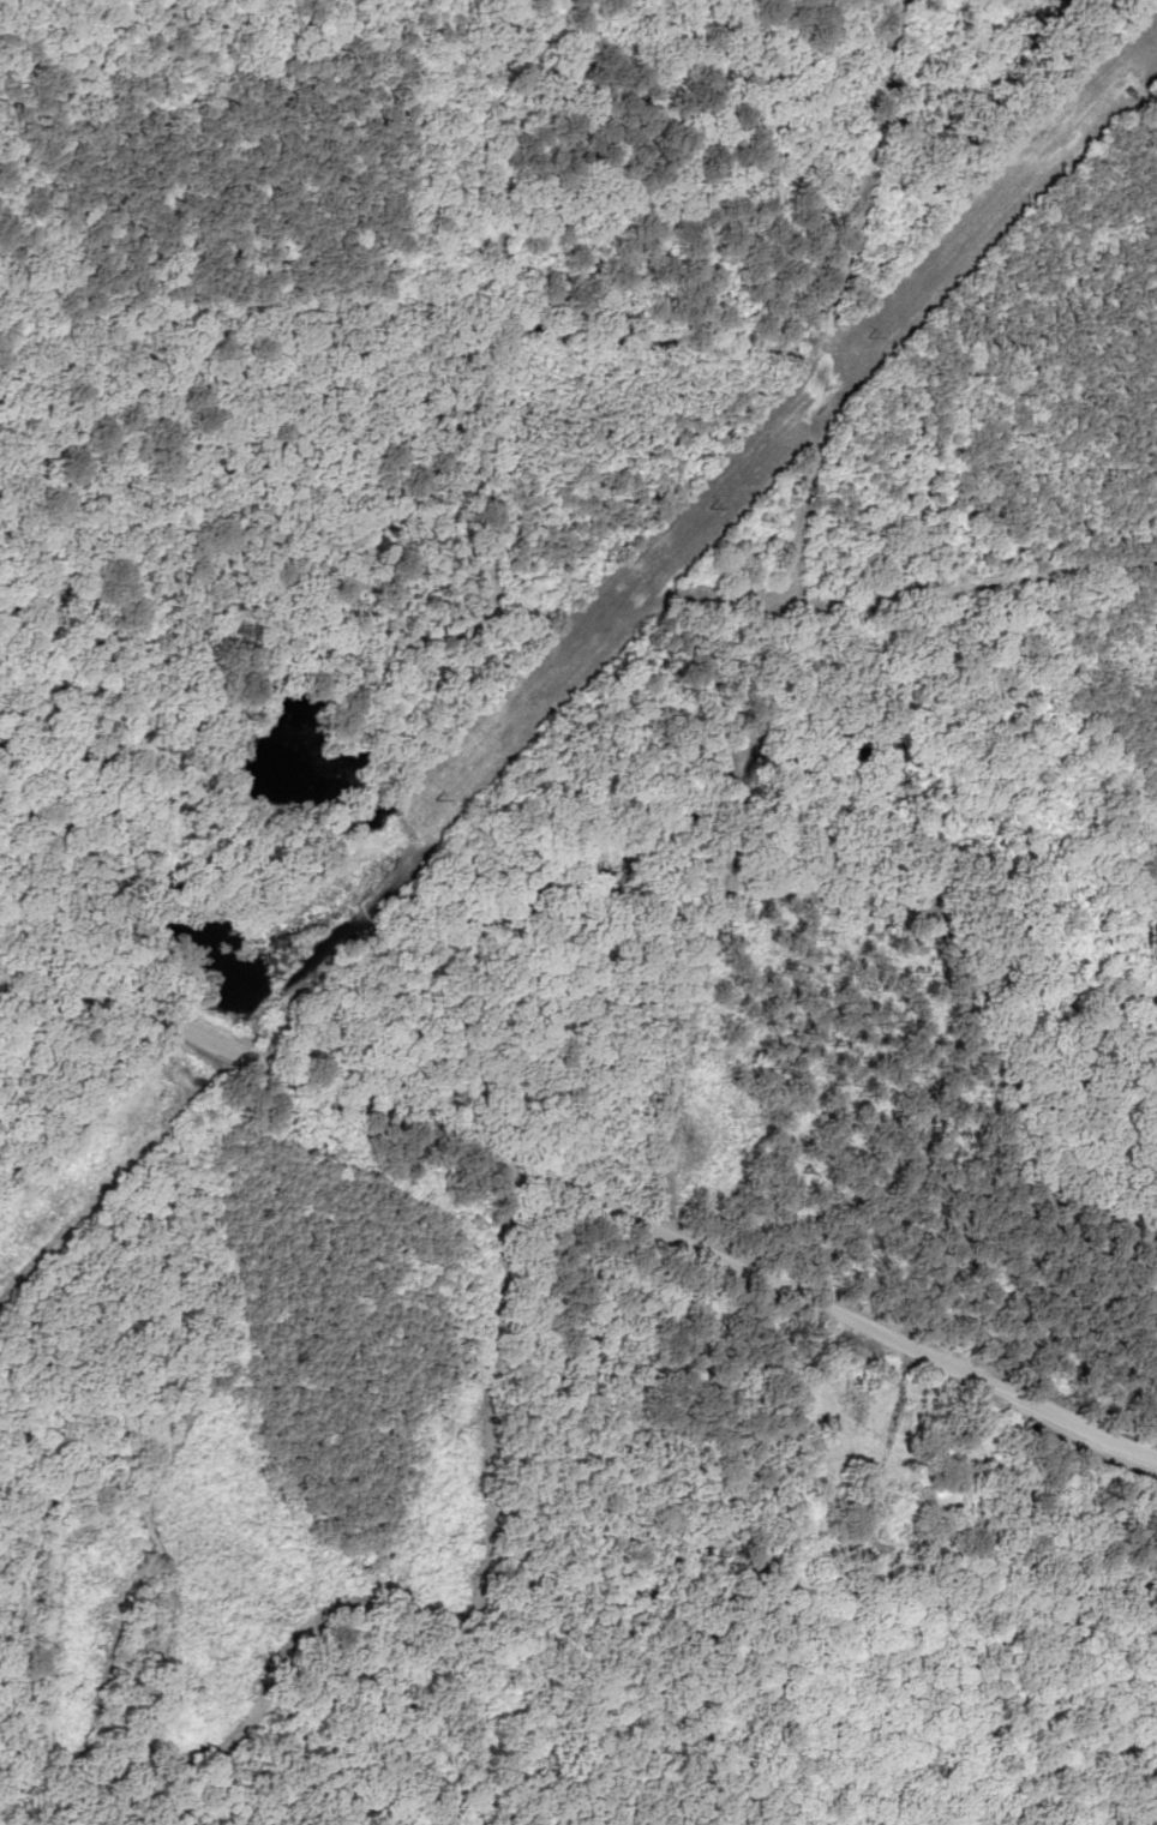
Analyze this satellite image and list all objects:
road: (586, 1202)
building: (863, 1406)

